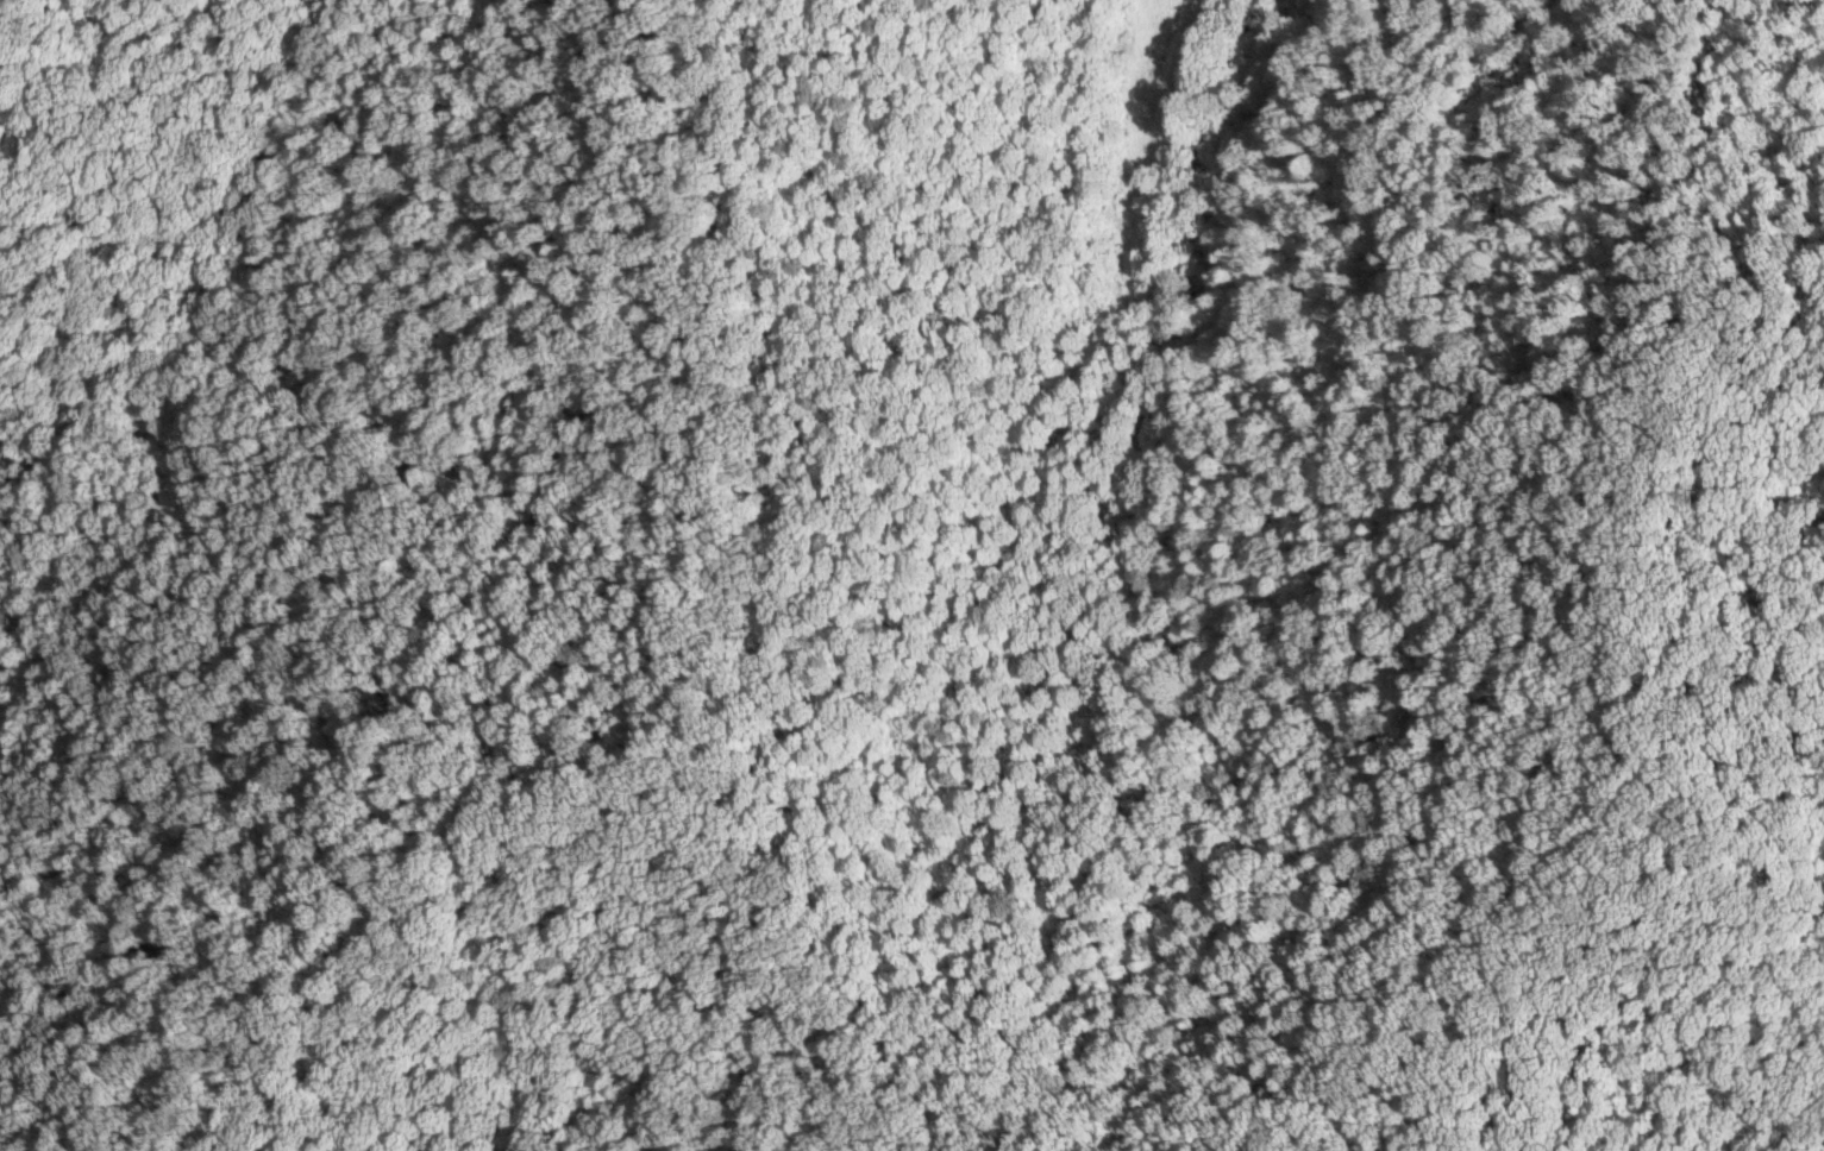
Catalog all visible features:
road: (1111, 7)

